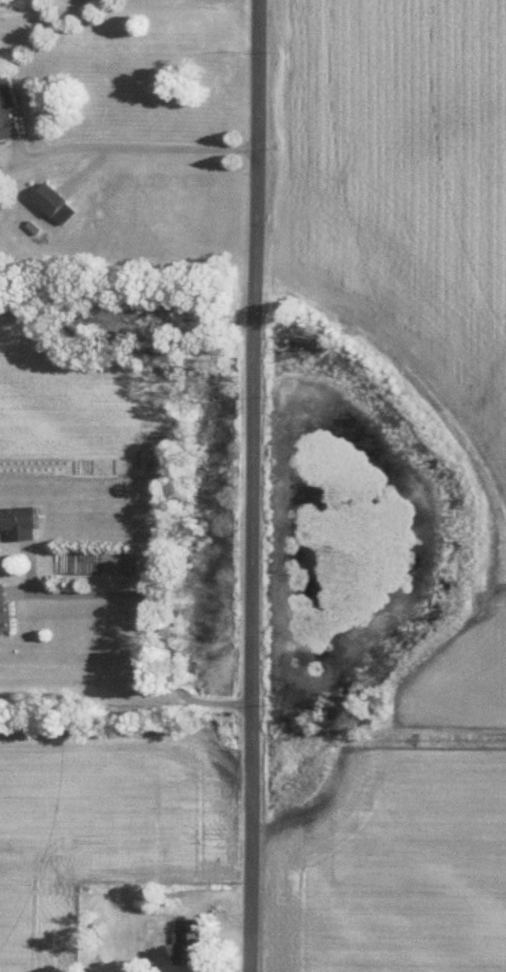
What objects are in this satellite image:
building: (8, 109)
road: (136, 149)
crop: (406, 197)
building: (55, 202)
road: (252, 485)
building: (20, 521)
building: (5, 610)
road: (169, 617)
crop: (467, 698)
crop: (95, 824)
crop: (407, 869)
building: (187, 946)

